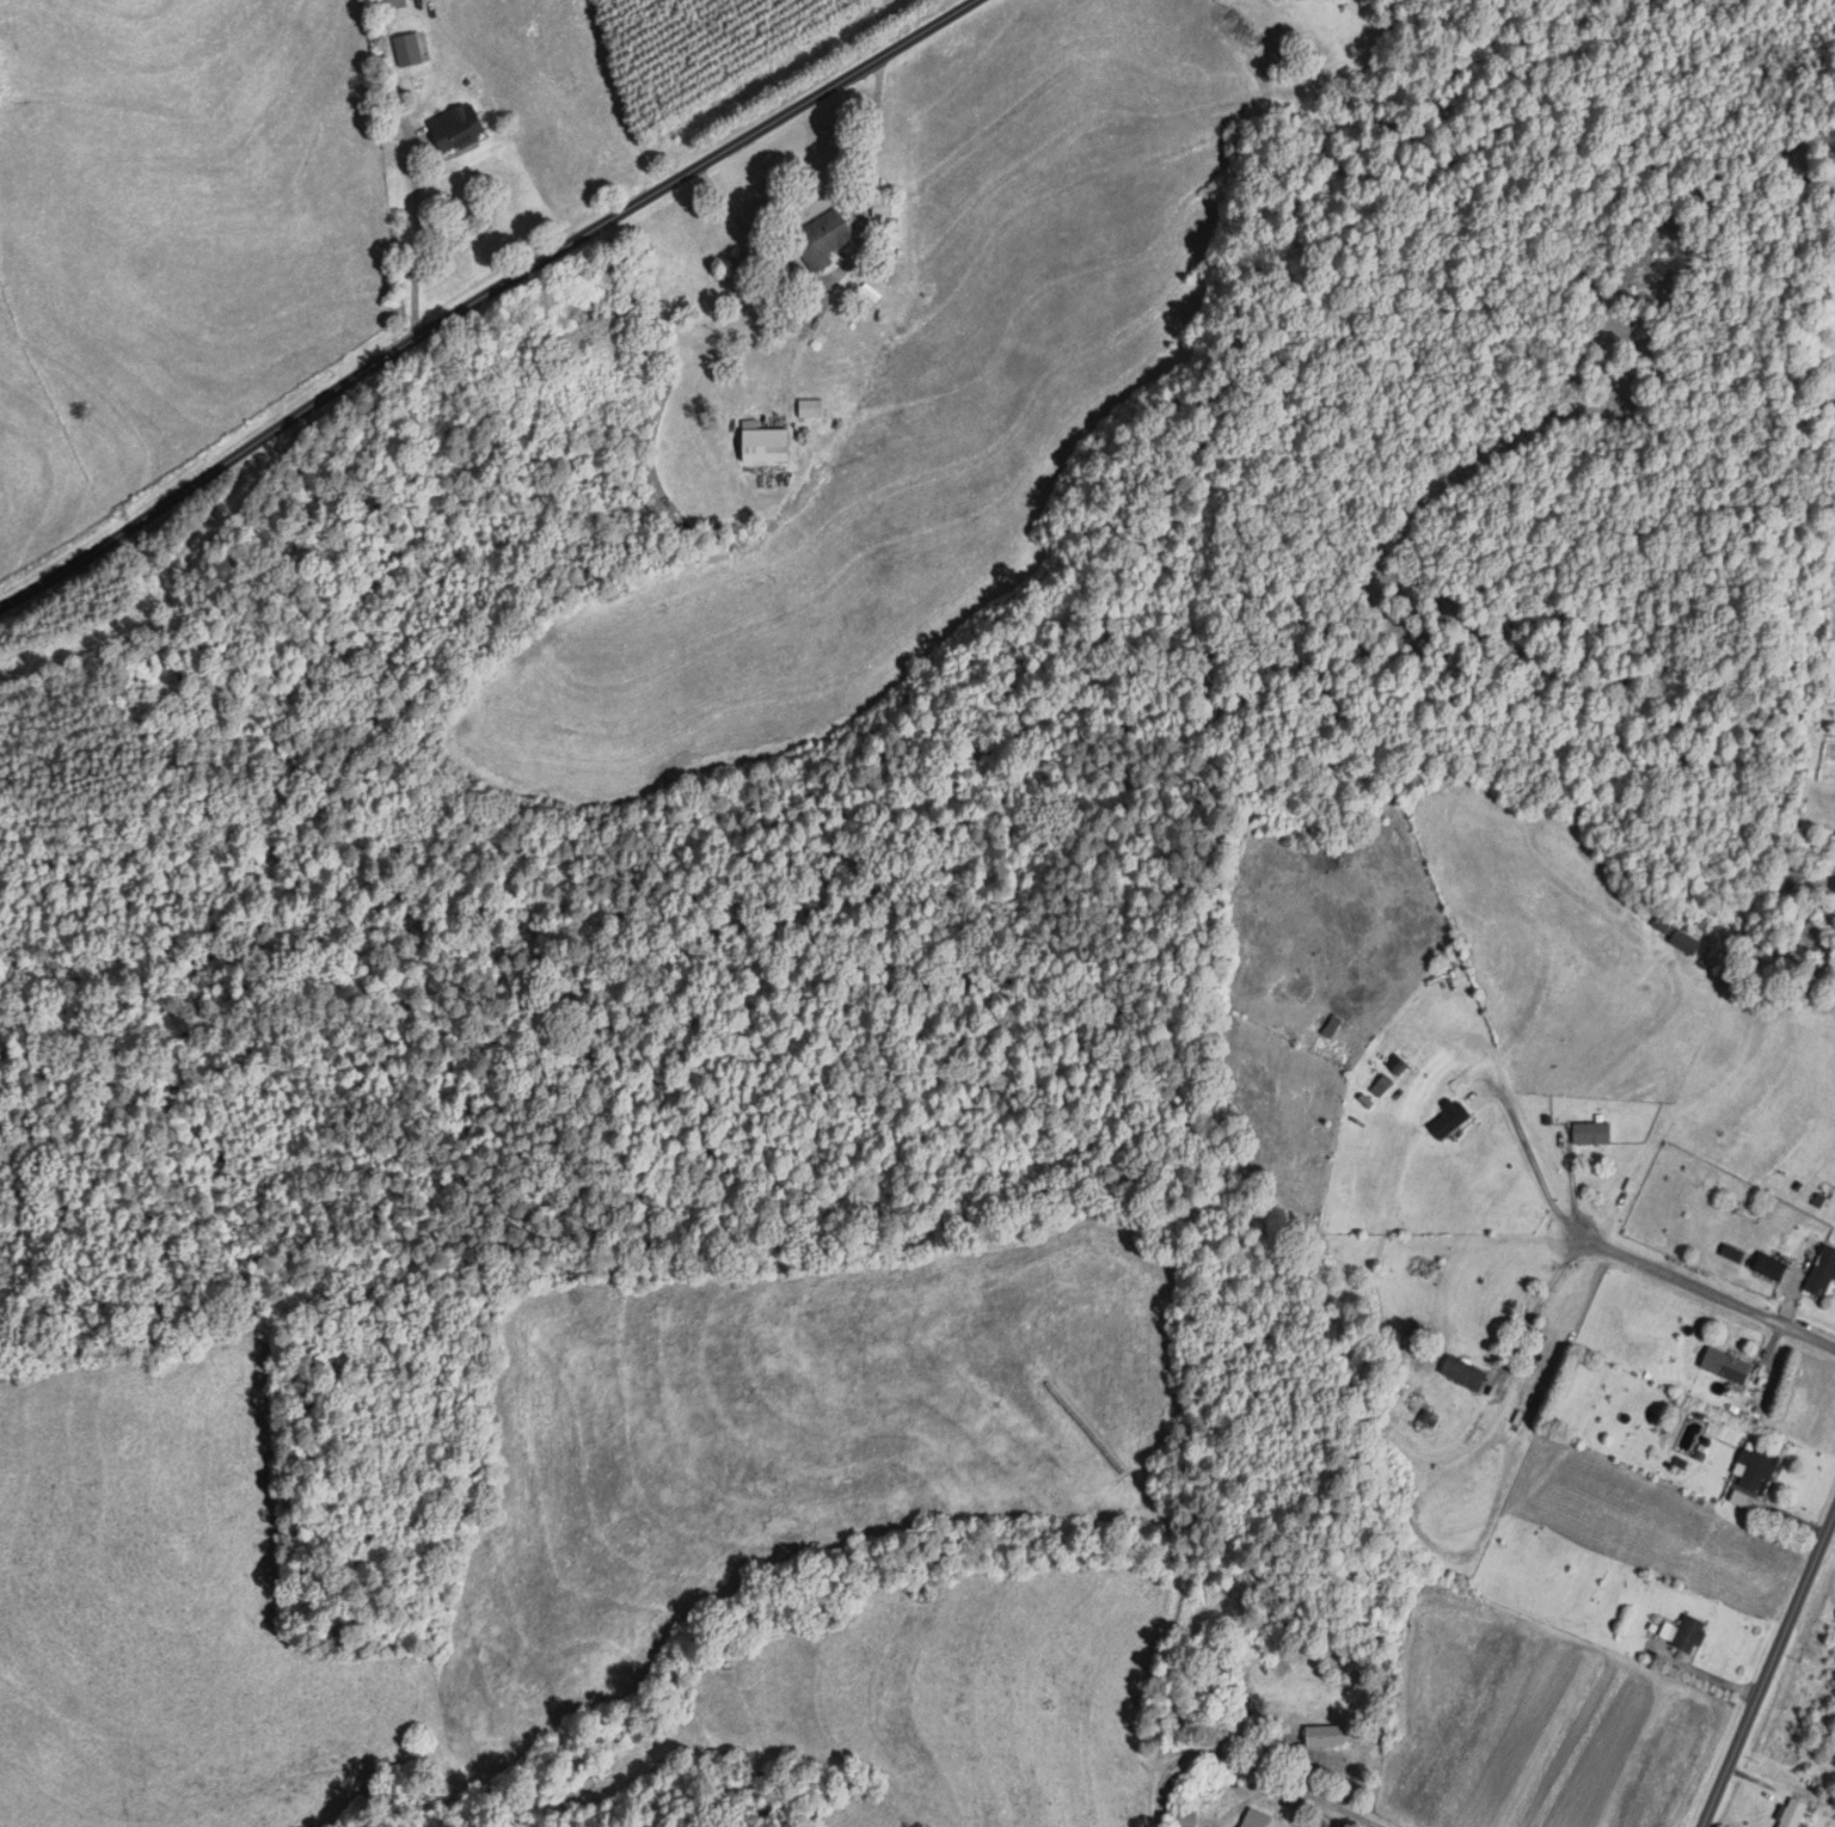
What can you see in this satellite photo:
building: (407, 50)
building: (458, 129)
building: (882, 208)
building: (822, 240)
road: (417, 246)
road: (473, 300)
building: (766, 445)
building: (1661, 925)
building: (1684, 942)
building: (1332, 1026)
building: (1448, 1121)
building: (1591, 1133)
road: (1528, 1149)
building: (1770, 1268)
building: (1823, 1274)
road: (1701, 1295)
road: (1539, 1302)
building: (1725, 1365)
building: (1463, 1373)
building: (1755, 1469)
building: (1684, 1633)
road: (1766, 1664)
building: (1325, 1737)
road: (1247, 1762)
building: (1183, 1819)
building: (1254, 1819)

